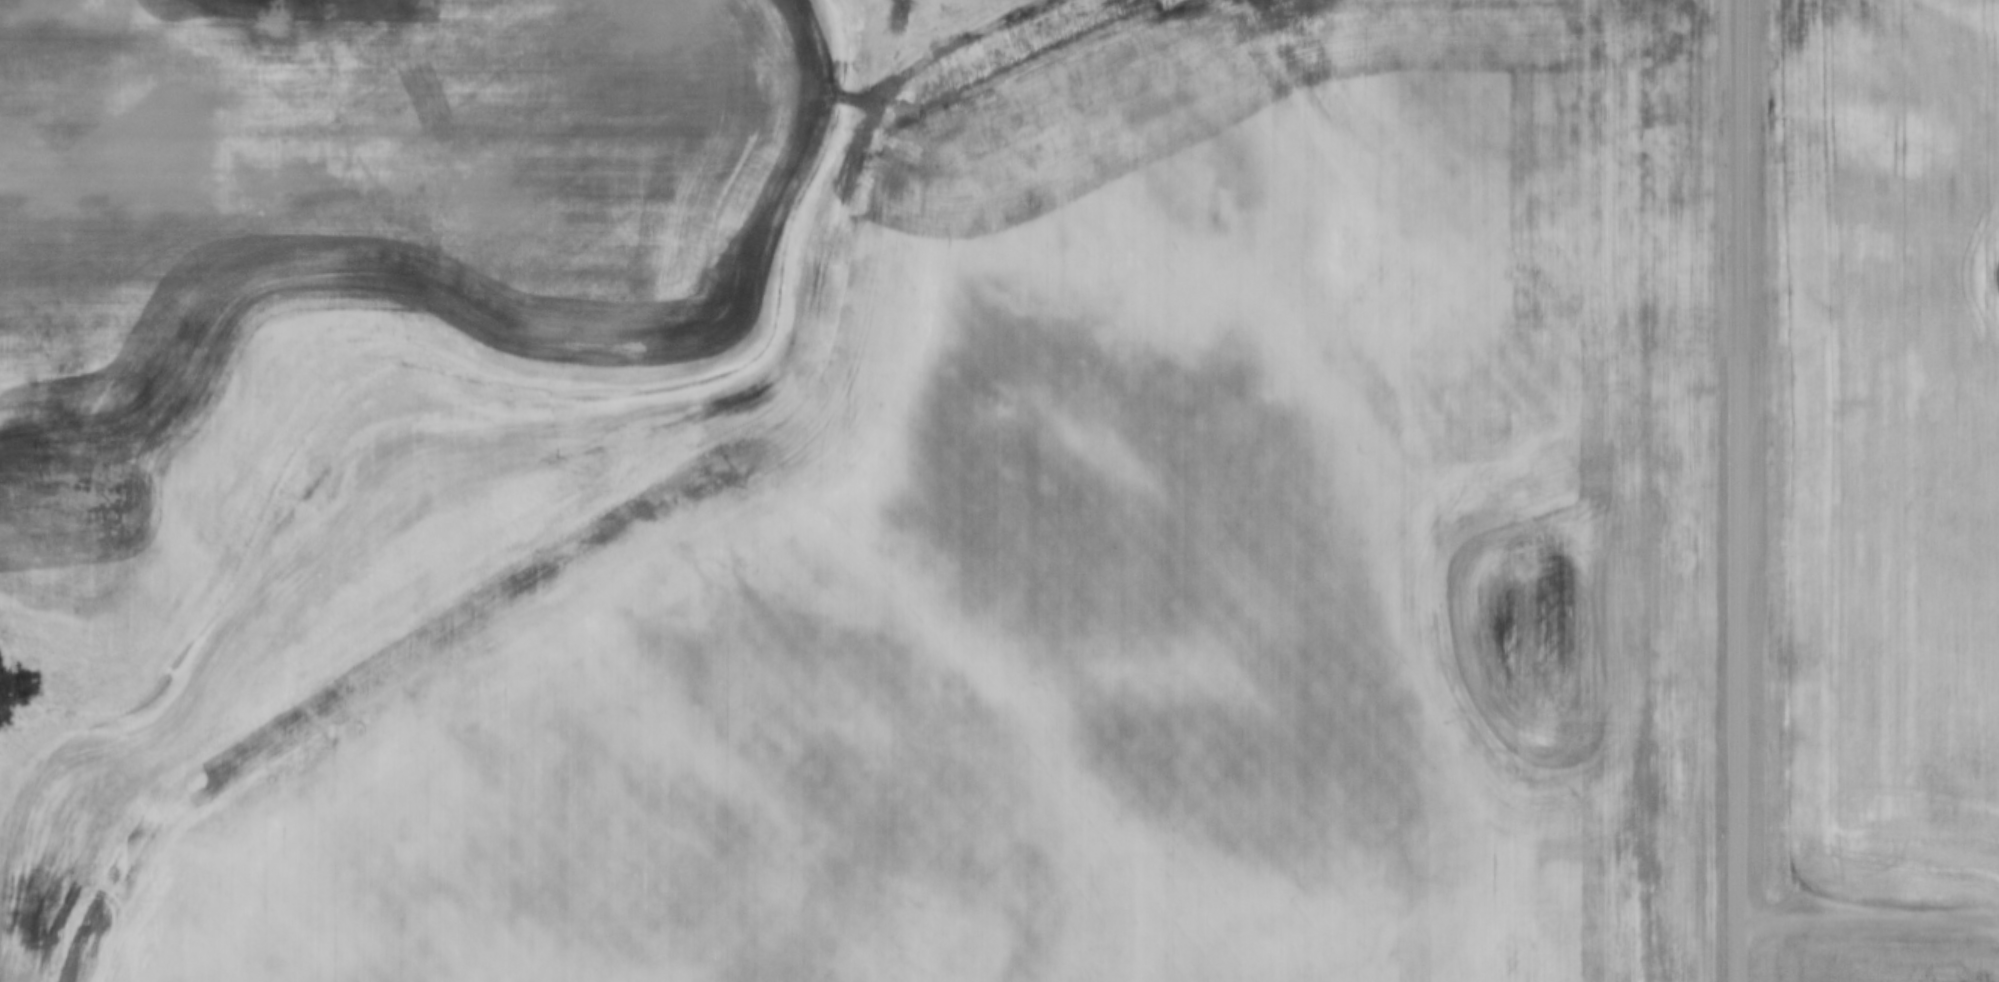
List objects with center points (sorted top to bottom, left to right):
road: (1737, 491)

